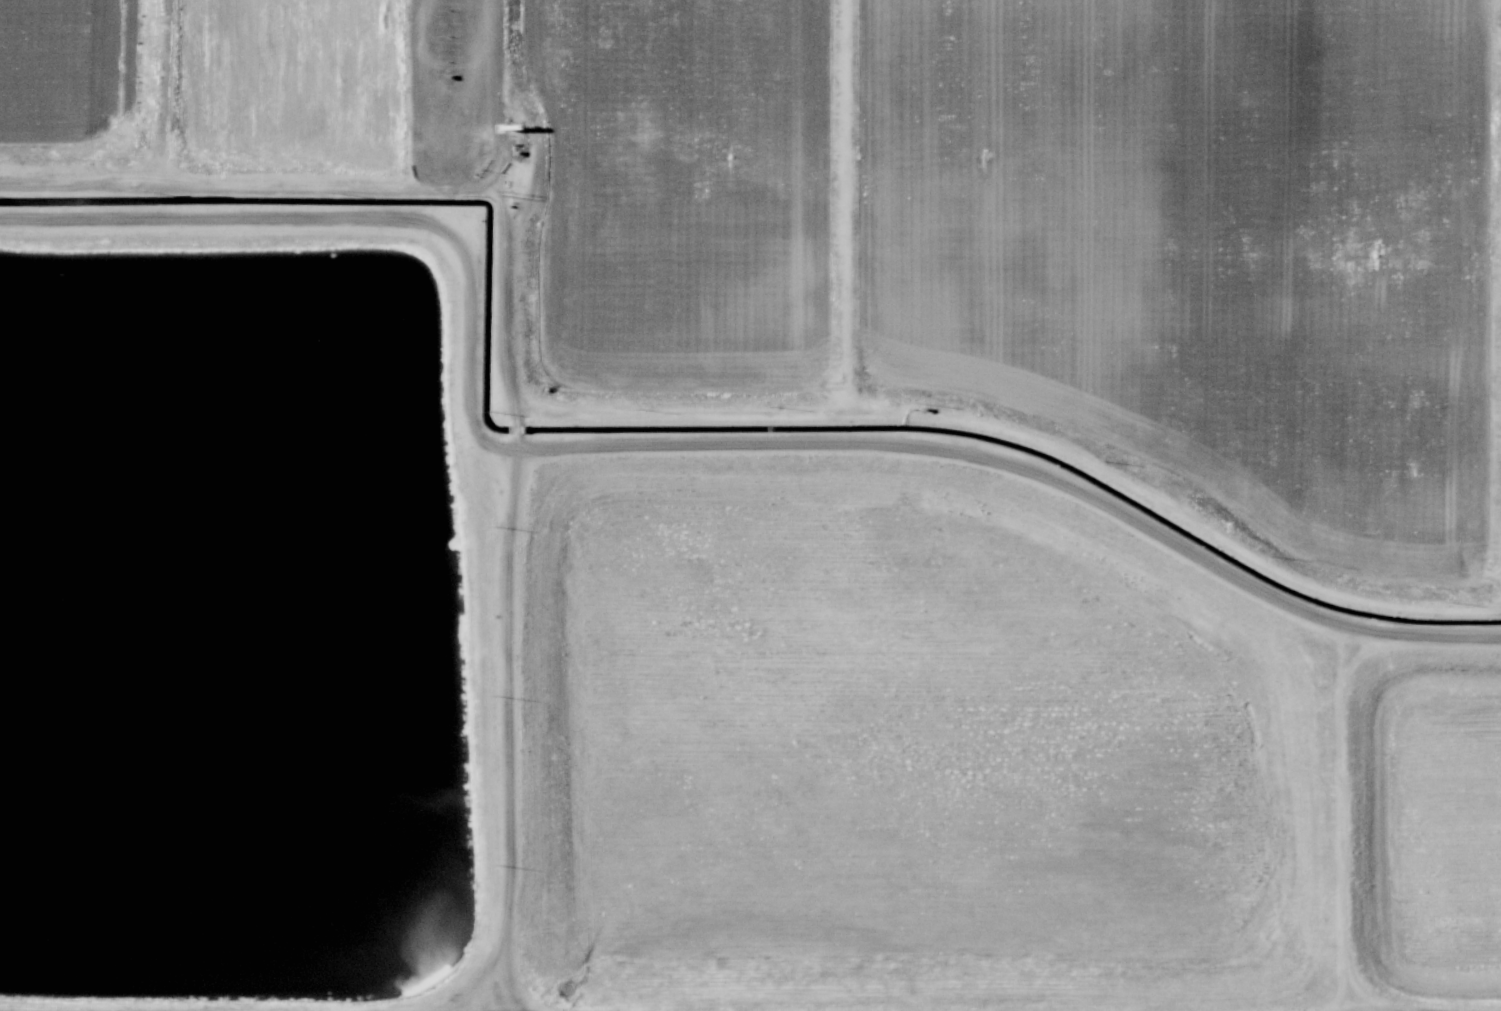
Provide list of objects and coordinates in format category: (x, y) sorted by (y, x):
wastewater plant: (72, 75)
wastewater plant: (336, 82)
road: (166, 91)
road: (501, 94)
wastewater plant: (688, 186)
road: (849, 205)
wastewater plant: (1209, 236)
road: (668, 410)
road: (678, 444)
wastewater plant: (750, 505)
wastewater plant: (223, 628)
road: (508, 713)
wastewater plant: (904, 748)
road: (1346, 818)
wastewater plant: (1439, 826)

